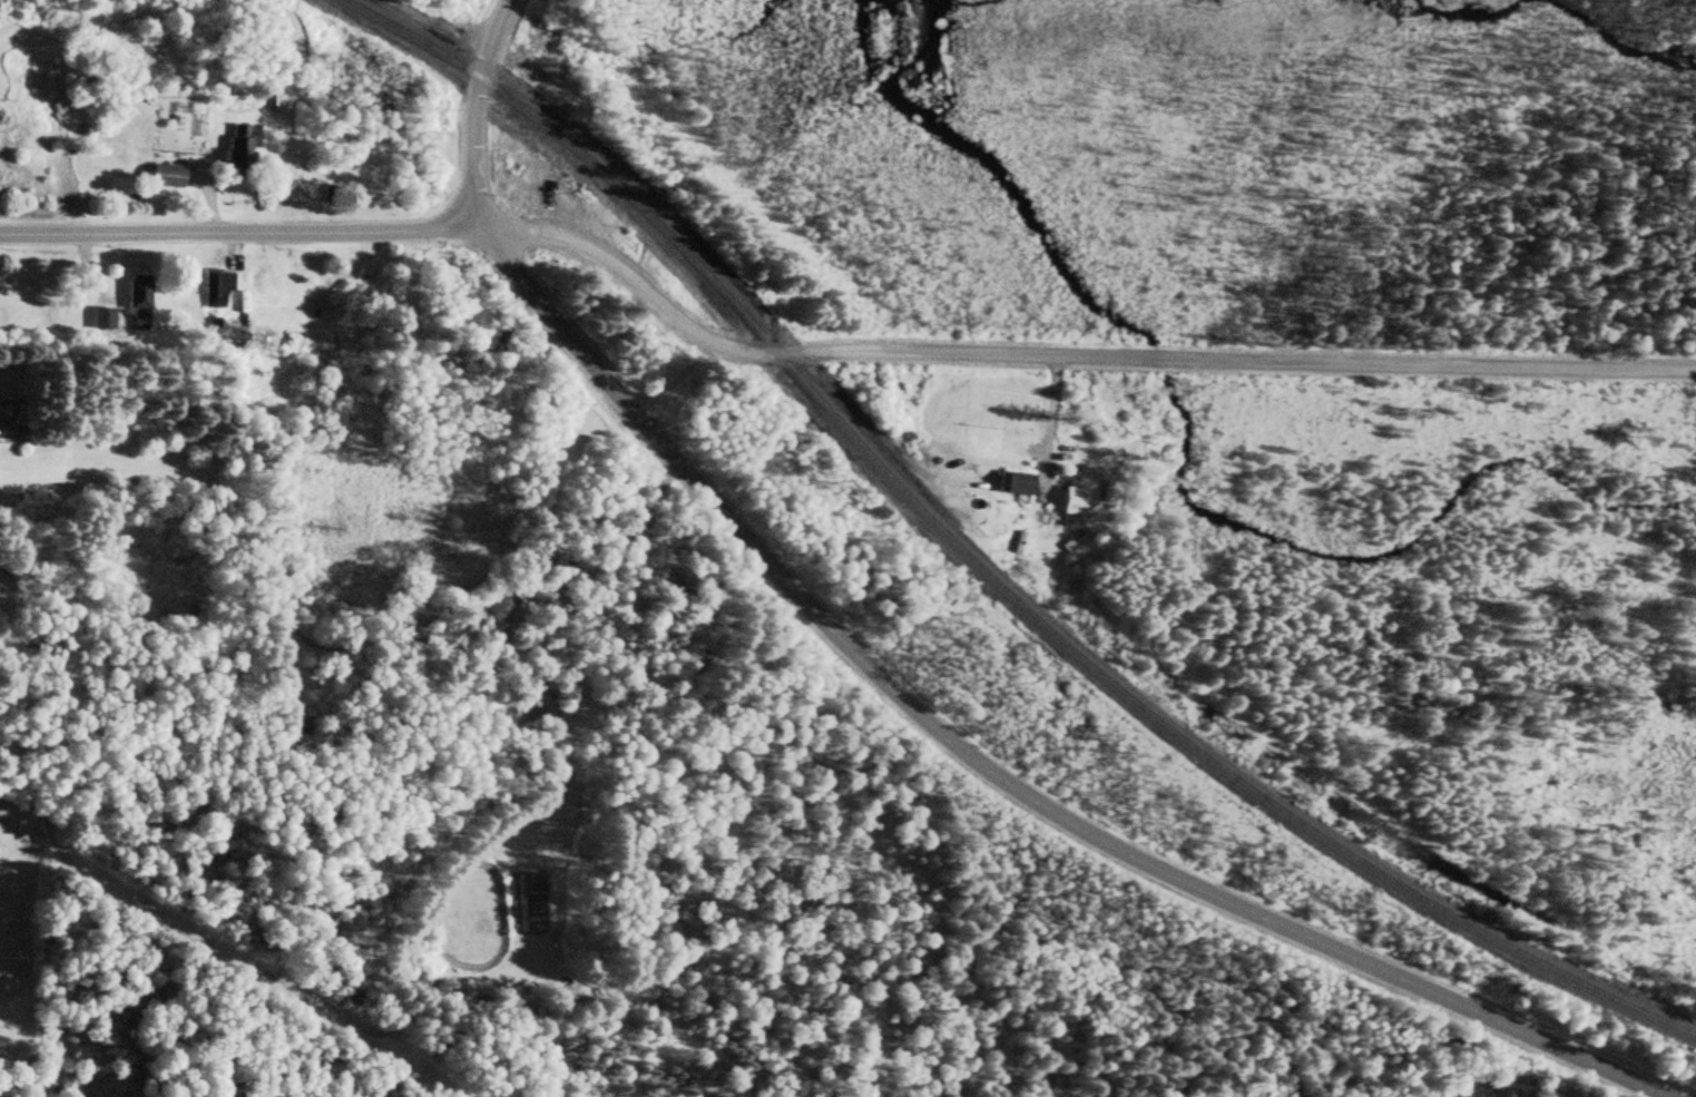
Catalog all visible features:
road: (472, 108)
building: (242, 144)
building: (167, 177)
road: (238, 232)
building: (215, 288)
building: (133, 311)
road: (1067, 355)
building: (1017, 483)
building: (1061, 508)
railway: (979, 567)
road: (988, 768)

